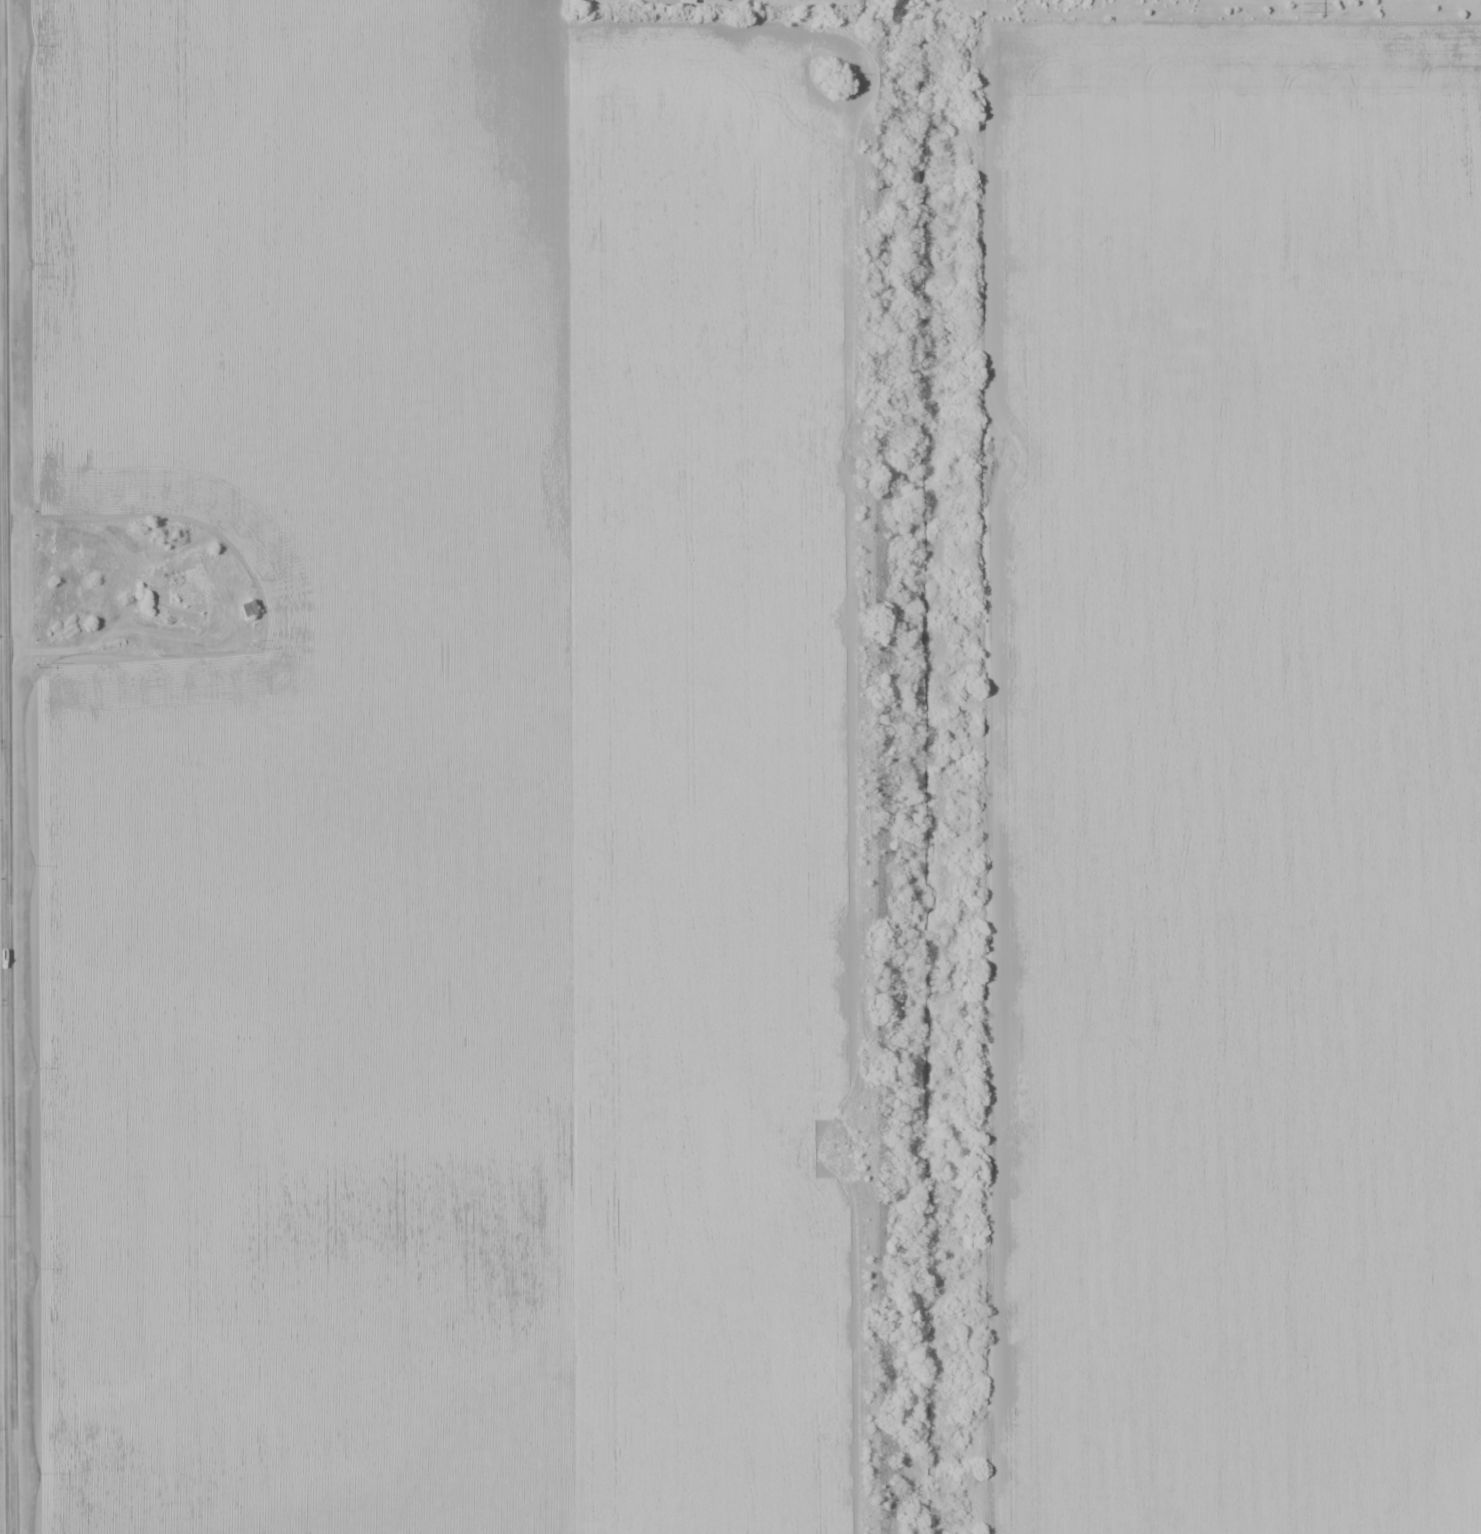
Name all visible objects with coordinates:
building: (663, 1)
power tower: (1296, 8)
building: (248, 608)
road: (3, 647)
road: (7, 767)
road: (988, 1021)

